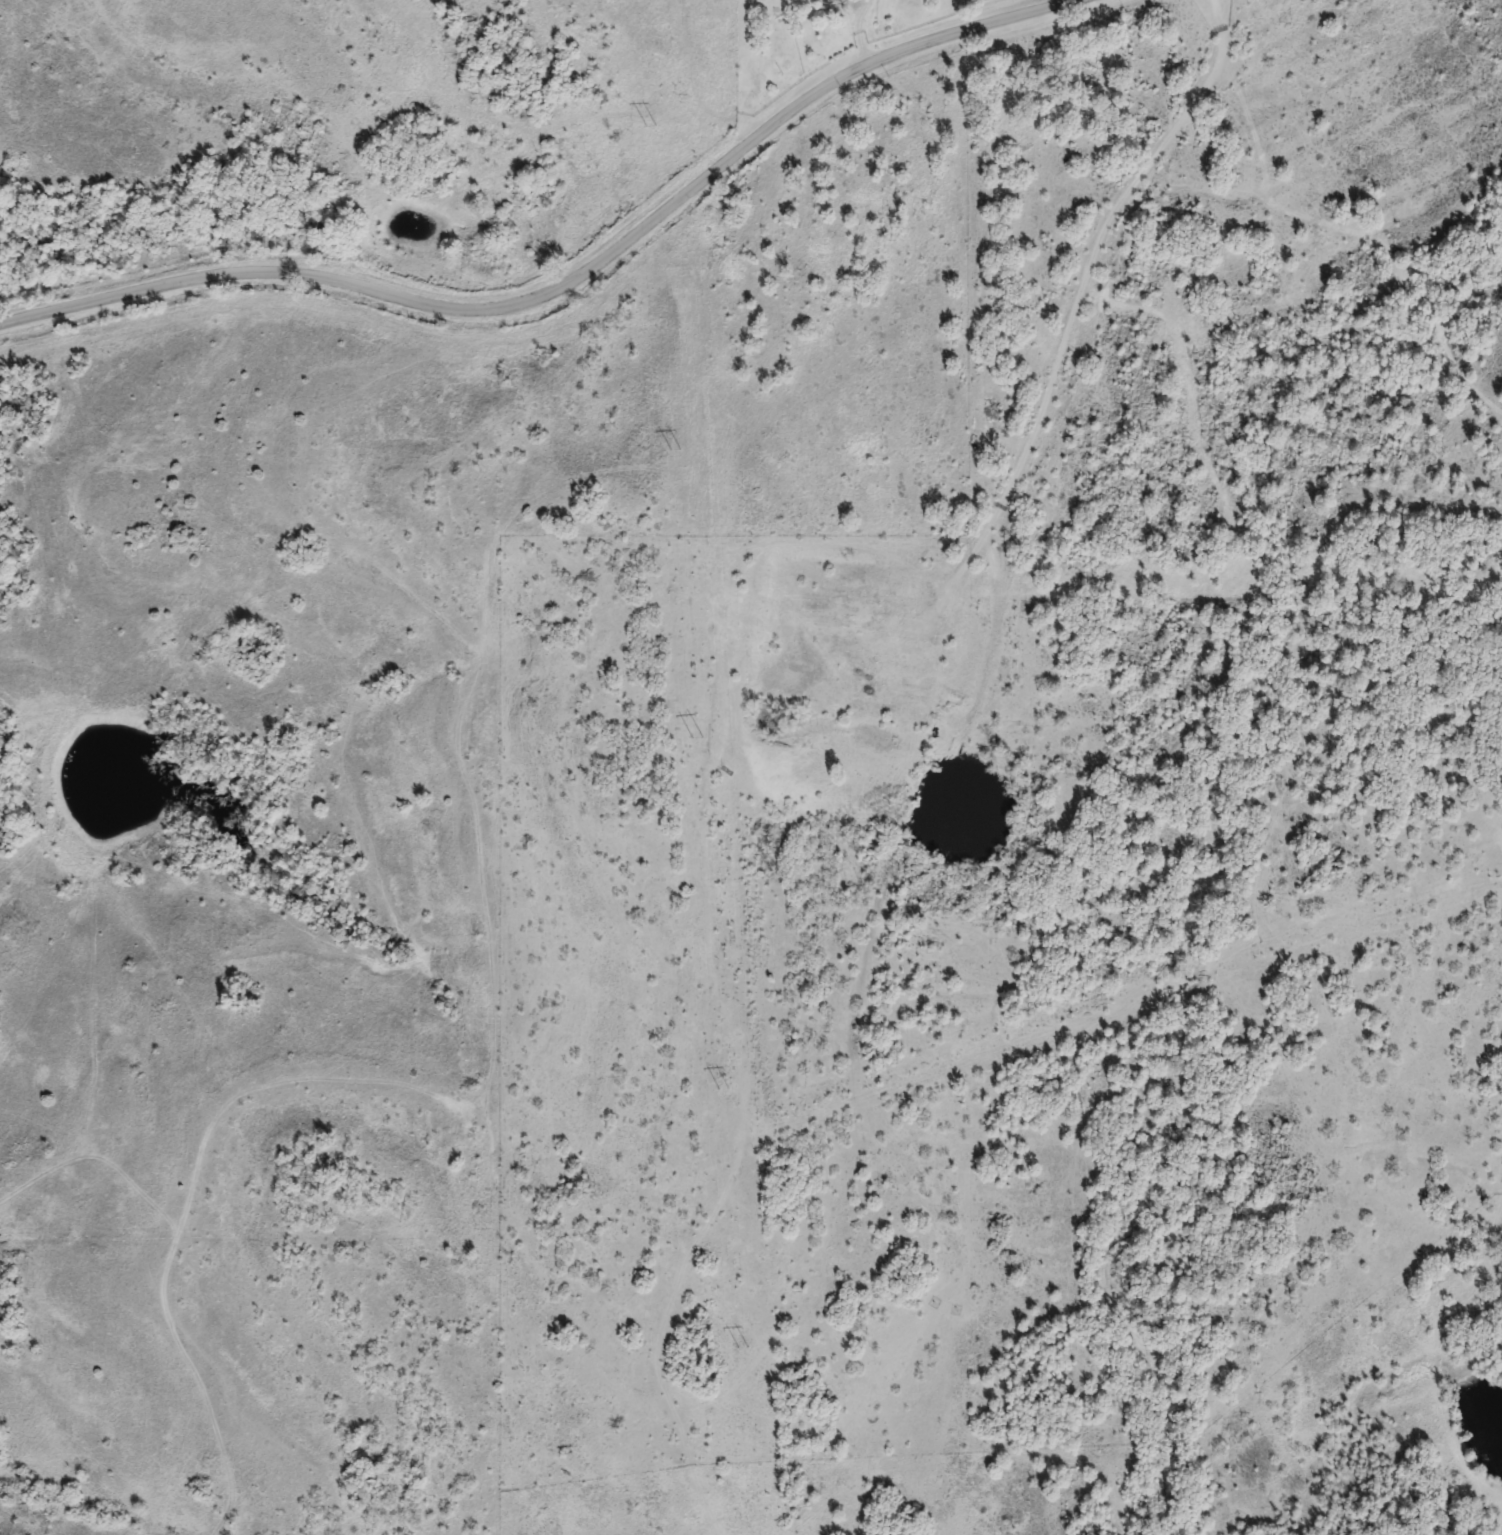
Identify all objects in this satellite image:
road: (858, 35)
road: (687, 87)
power tower: (653, 140)
road: (583, 276)
road: (1072, 313)
power tower: (678, 465)
power tower: (702, 759)
power tower: (729, 1110)
power tower: (747, 1370)

